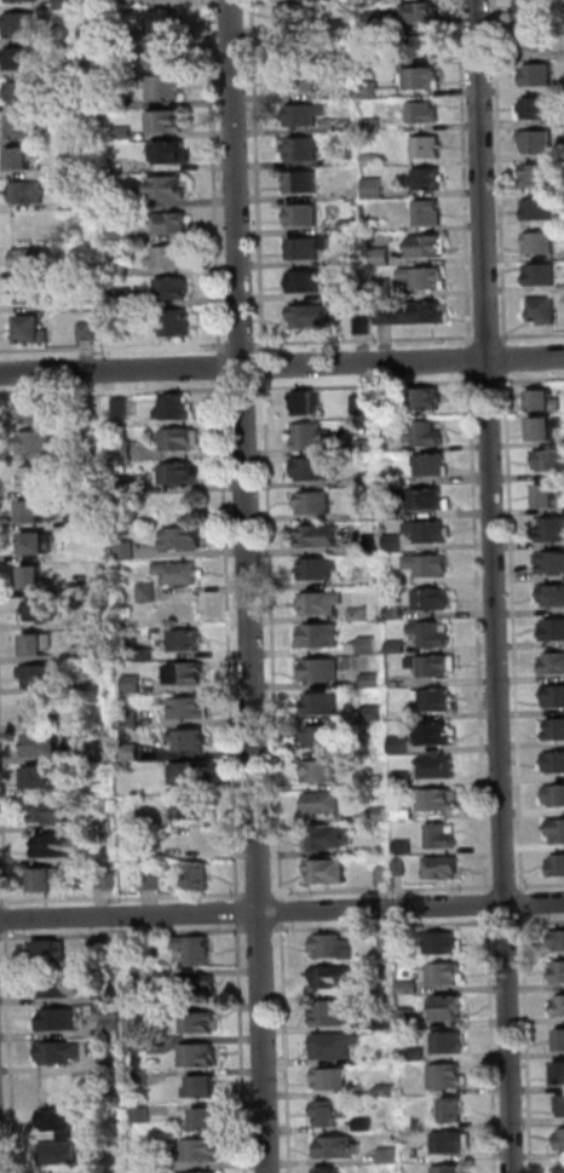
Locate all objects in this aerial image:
building: (25, 0)
building: (69, 4)
building: (536, 7)
building: (421, 13)
building: (295, 15)
building: (167, 19)
building: (378, 21)
building: (24, 24)
building: (109, 34)
building: (539, 40)
building: (424, 46)
building: (301, 47)
building: (165, 52)
building: (25, 59)
building: (86, 69)
building: (540, 75)
building: (425, 79)
building: (305, 81)
building: (168, 87)
building: (373, 90)
building: (28, 92)
building: (125, 100)
building: (73, 102)
building: (537, 110)
building: (426, 111)
building: (309, 114)
building: (168, 121)
building: (25, 125)
building: (376, 125)
building: (126, 133)
building: (540, 140)
building: (431, 146)
building: (303, 148)
building: (174, 153)
building: (25, 157)
building: (375, 160)
building: (77, 169)
road: (467, 172)
road: (502, 172)
building: (539, 174)
road: (217, 177)
road: (260, 177)
building: (431, 178)
building: (305, 182)
building: (171, 188)
building: (376, 189)
building: (31, 192)
building: (121, 199)
building: (75, 203)
building: (542, 208)
building: (431, 213)
building: (306, 214)
building: (174, 223)
building: (380, 225)
building: (352, 226)
building: (121, 232)
building: (542, 243)
building: (431, 247)
building: (311, 248)
building: (174, 257)
building: (385, 257)
building: (353, 258)
building: (31, 259)
building: (123, 269)
building: (543, 274)
building: (427, 277)
building: (309, 281)
building: (175, 287)
building: (387, 287)
building: (349, 291)
building: (35, 292)
building: (127, 297)
building: (546, 310)
building: (415, 314)
building: (311, 316)
building: (179, 323)
building: (367, 324)
building: (34, 329)
building: (90, 330)
road: (534, 335)
road: (490, 337)
road: (367, 340)
road: (244, 345)
road: (115, 347)
road: (510, 358)
road: (473, 360)
road: (281, 364)
road: (267, 366)
road: (224, 368)
road: (534, 379)
road: (491, 380)
road: (369, 384)
road: (247, 387)
road: (117, 392)
building: (431, 398)
building: (547, 401)
building: (309, 403)
building: (367, 404)
building: (125, 407)
building: (178, 409)
building: (390, 409)
building: (40, 410)
building: (547, 427)
building: (428, 435)
building: (315, 436)
building: (182, 439)
building: (39, 442)
building: (369, 445)
building: (94, 450)
building: (125, 450)
building: (552, 460)
building: (436, 464)
building: (313, 470)
building: (182, 475)
building: (40, 478)
building: (393, 479)
building: (370, 481)
building: (549, 496)
building: (426, 499)
building: (317, 504)
building: (36, 511)
building: (396, 512)
building: (79, 523)
building: (553, 530)
building: (431, 531)
building: (322, 536)
building: (185, 539)
building: (397, 542)
building: (38, 544)
building: (128, 550)
building: (552, 562)
building: (431, 565)
building: (321, 569)
building: (183, 571)
building: (36, 580)
building: (397, 580)
road: (251, 586)
road: (497, 586)
building: (82, 590)
building: (150, 592)
building: (552, 596)
building: (434, 599)
building: (323, 604)
building: (47, 609)
building: (399, 613)
building: (362, 615)
building: (554, 631)
road: (482, 633)
road: (517, 633)
building: (436, 634)
building: (322, 636)
building: (188, 640)
road: (276, 640)
road: (232, 642)
building: (40, 645)
building: (372, 646)
building: (399, 648)
building: (99, 654)
building: (146, 654)
building: (554, 665)
building: (436, 666)
building: (321, 671)
building: (189, 674)
building: (42, 677)
building: (374, 680)
building: (134, 684)
building: (397, 684)
building: (556, 697)
building: (437, 700)
building: (324, 705)
building: (192, 709)
building: (39, 711)
building: (403, 715)
building: (132, 718)
building: (554, 730)
building: (437, 735)
building: (323, 736)
building: (191, 740)
building: (402, 744)
building: (46, 746)
building: (368, 748)
building: (133, 753)
road: (4, 758)
building: (558, 763)
building: (441, 767)
building: (323, 771)
building: (192, 774)
building: (44, 778)
building: (404, 778)
building: (104, 789)
building: (557, 795)
building: (442, 800)
building: (326, 804)
building: (405, 805)
building: (195, 809)
building: (52, 812)
building: (381, 815)
building: (136, 816)
building: (407, 816)
building: (558, 830)
building: (444, 836)
building: (334, 838)
building: (189, 839)
building: (54, 846)
building: (405, 847)
building: (558, 866)
building: (402, 867)
building: (444, 868)
building: (329, 872)
building: (386, 874)
building: (200, 878)
building: (47, 880)
building: (113, 881)
building: (154, 881)
road: (541, 885)
road: (507, 886)
road: (385, 890)
road: (263, 895)
road: (123, 897)
road: (490, 899)
road: (526, 904)
road: (284, 907)
road: (241, 913)
road: (282, 913)
road: (10, 920)
road: (542, 921)
road: (514, 922)
road: (255, 931)
road: (125, 933)
road: (0, 937)
building: (408, 941)
building: (559, 941)
building: (389, 943)
building: (448, 944)
building: (335, 947)
building: (108, 948)
building: (197, 950)
building: (52, 953)
building: (448, 973)
building: (559, 973)
building: (334, 978)
building: (59, 987)
building: (197, 987)
building: (109, 995)
building: (560, 1006)
building: (450, 1010)
building: (139, 1013)
building: (332, 1013)
building: (409, 1019)
building: (59, 1020)
building: (201, 1023)
building: (113, 1024)
building: (387, 1024)
building: (562, 1041)
building: (451, 1042)
road: (530, 1045)
building: (336, 1046)
road: (244, 1048)
road: (12, 1052)
building: (59, 1053)
building: (418, 1054)
building: (201, 1056)
building: (114, 1063)
building: (560, 1074)
building: (449, 1077)
building: (143, 1079)
building: (335, 1080)
building: (203, 1088)
building: (389, 1091)
building: (562, 1104)
building: (456, 1111)
building: (332, 1114)
building: (144, 1115)
building: (58, 1121)
building: (208, 1121)
building: (367, 1125)
building: (68, 1135)
building: (454, 1143)
building: (562, 1143)
building: (341, 1149)
building: (202, 1150)
building: (61, 1154)
building: (391, 1156)
building: (167, 1165)
building: (560, 1166)
building: (453, 1169)
building: (333, 1171)
building: (198, 1172)

